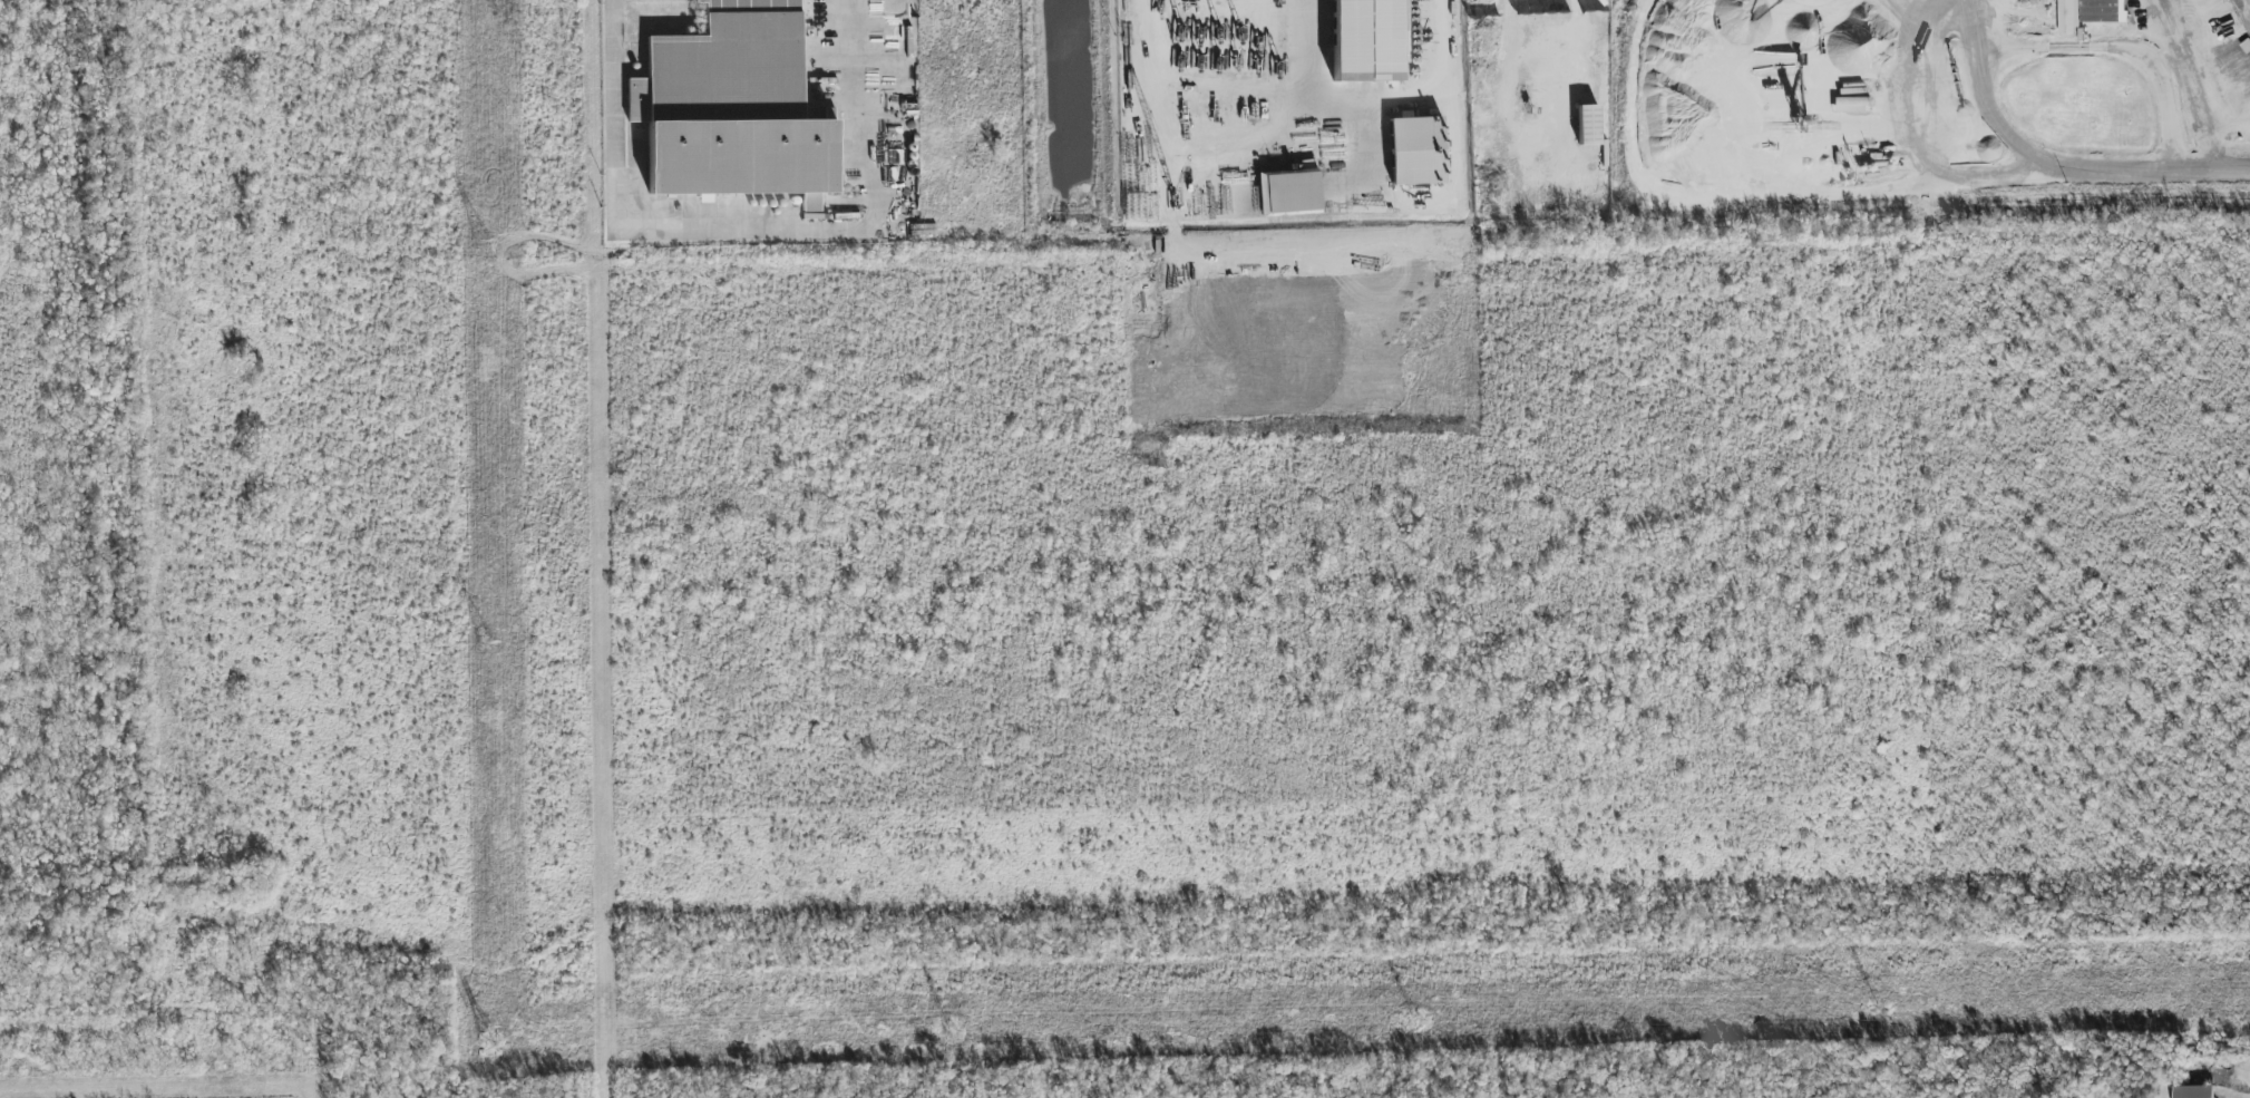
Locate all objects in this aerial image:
building: (2087, 13)
building: (1367, 39)
road: (1996, 55)
road: (2195, 81)
building: (1851, 104)
building: (733, 107)
road: (615, 114)
building: (1588, 125)
building: (1415, 149)
road: (2209, 171)
building: (1294, 186)
road: (860, 220)
power tower: (481, 242)
power tower: (484, 644)
power tower: (1877, 1017)
power tower: (1409, 1023)
power tower: (944, 1036)
power tower: (484, 1047)
building: (2194, 1091)

